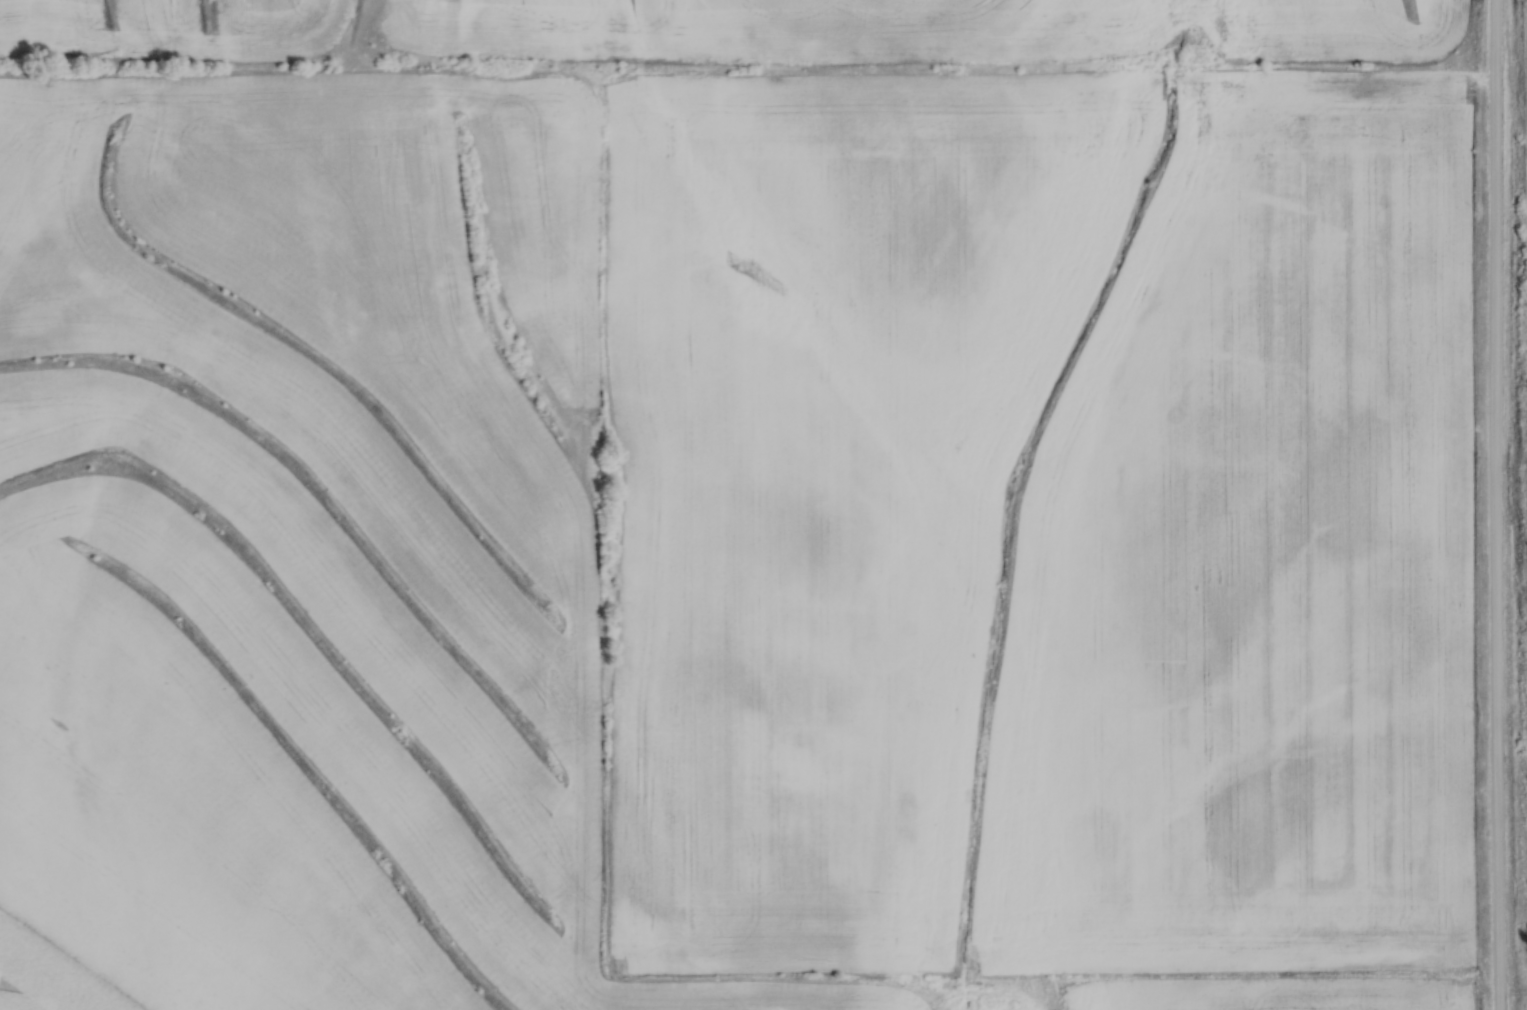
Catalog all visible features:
road: (1494, 505)

